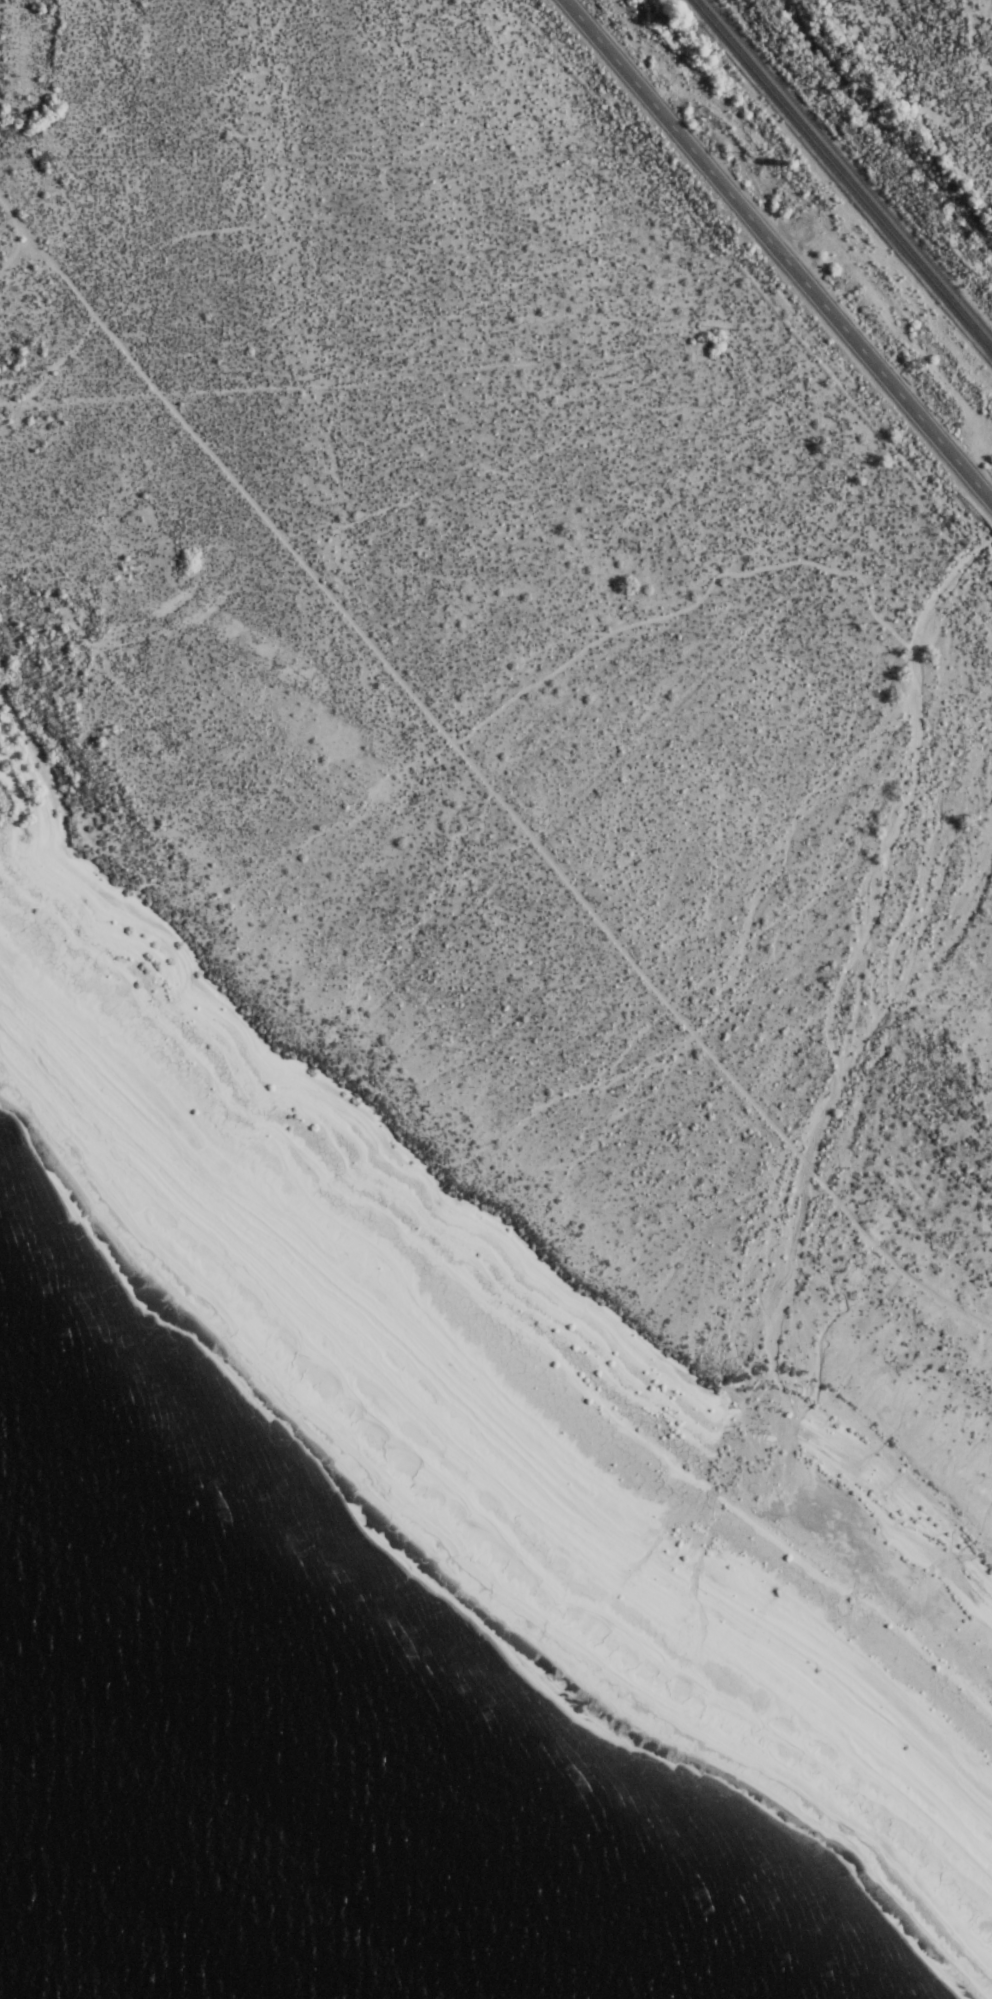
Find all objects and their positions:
railway: (846, 172)
road: (777, 253)
road: (394, 346)
road: (59, 388)

